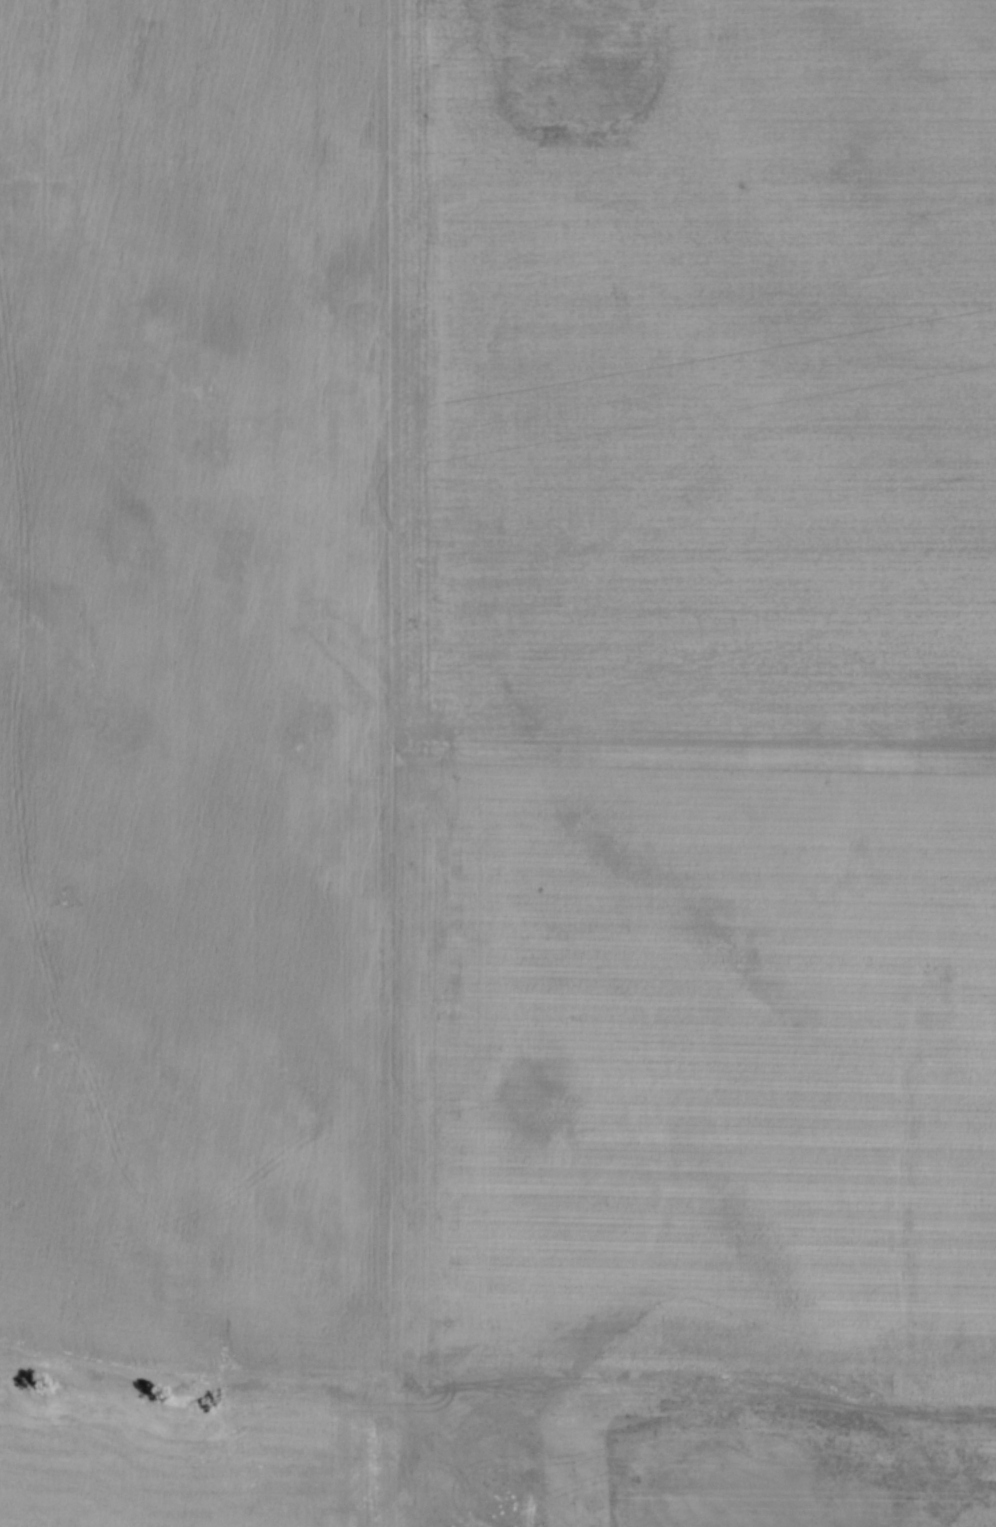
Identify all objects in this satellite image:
crop: (498, 763)

